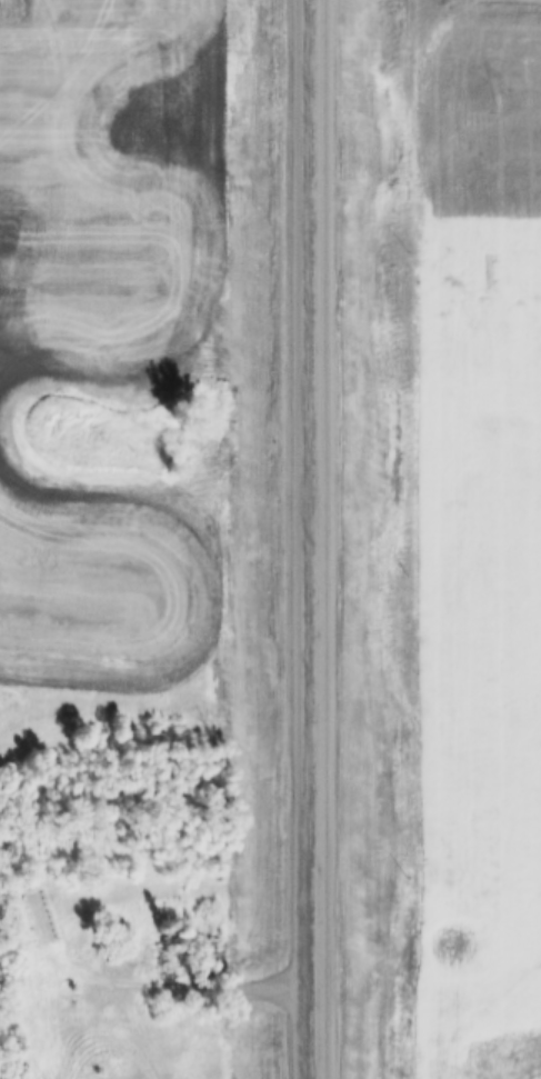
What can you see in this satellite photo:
road: (309, 539)
road: (169, 989)

